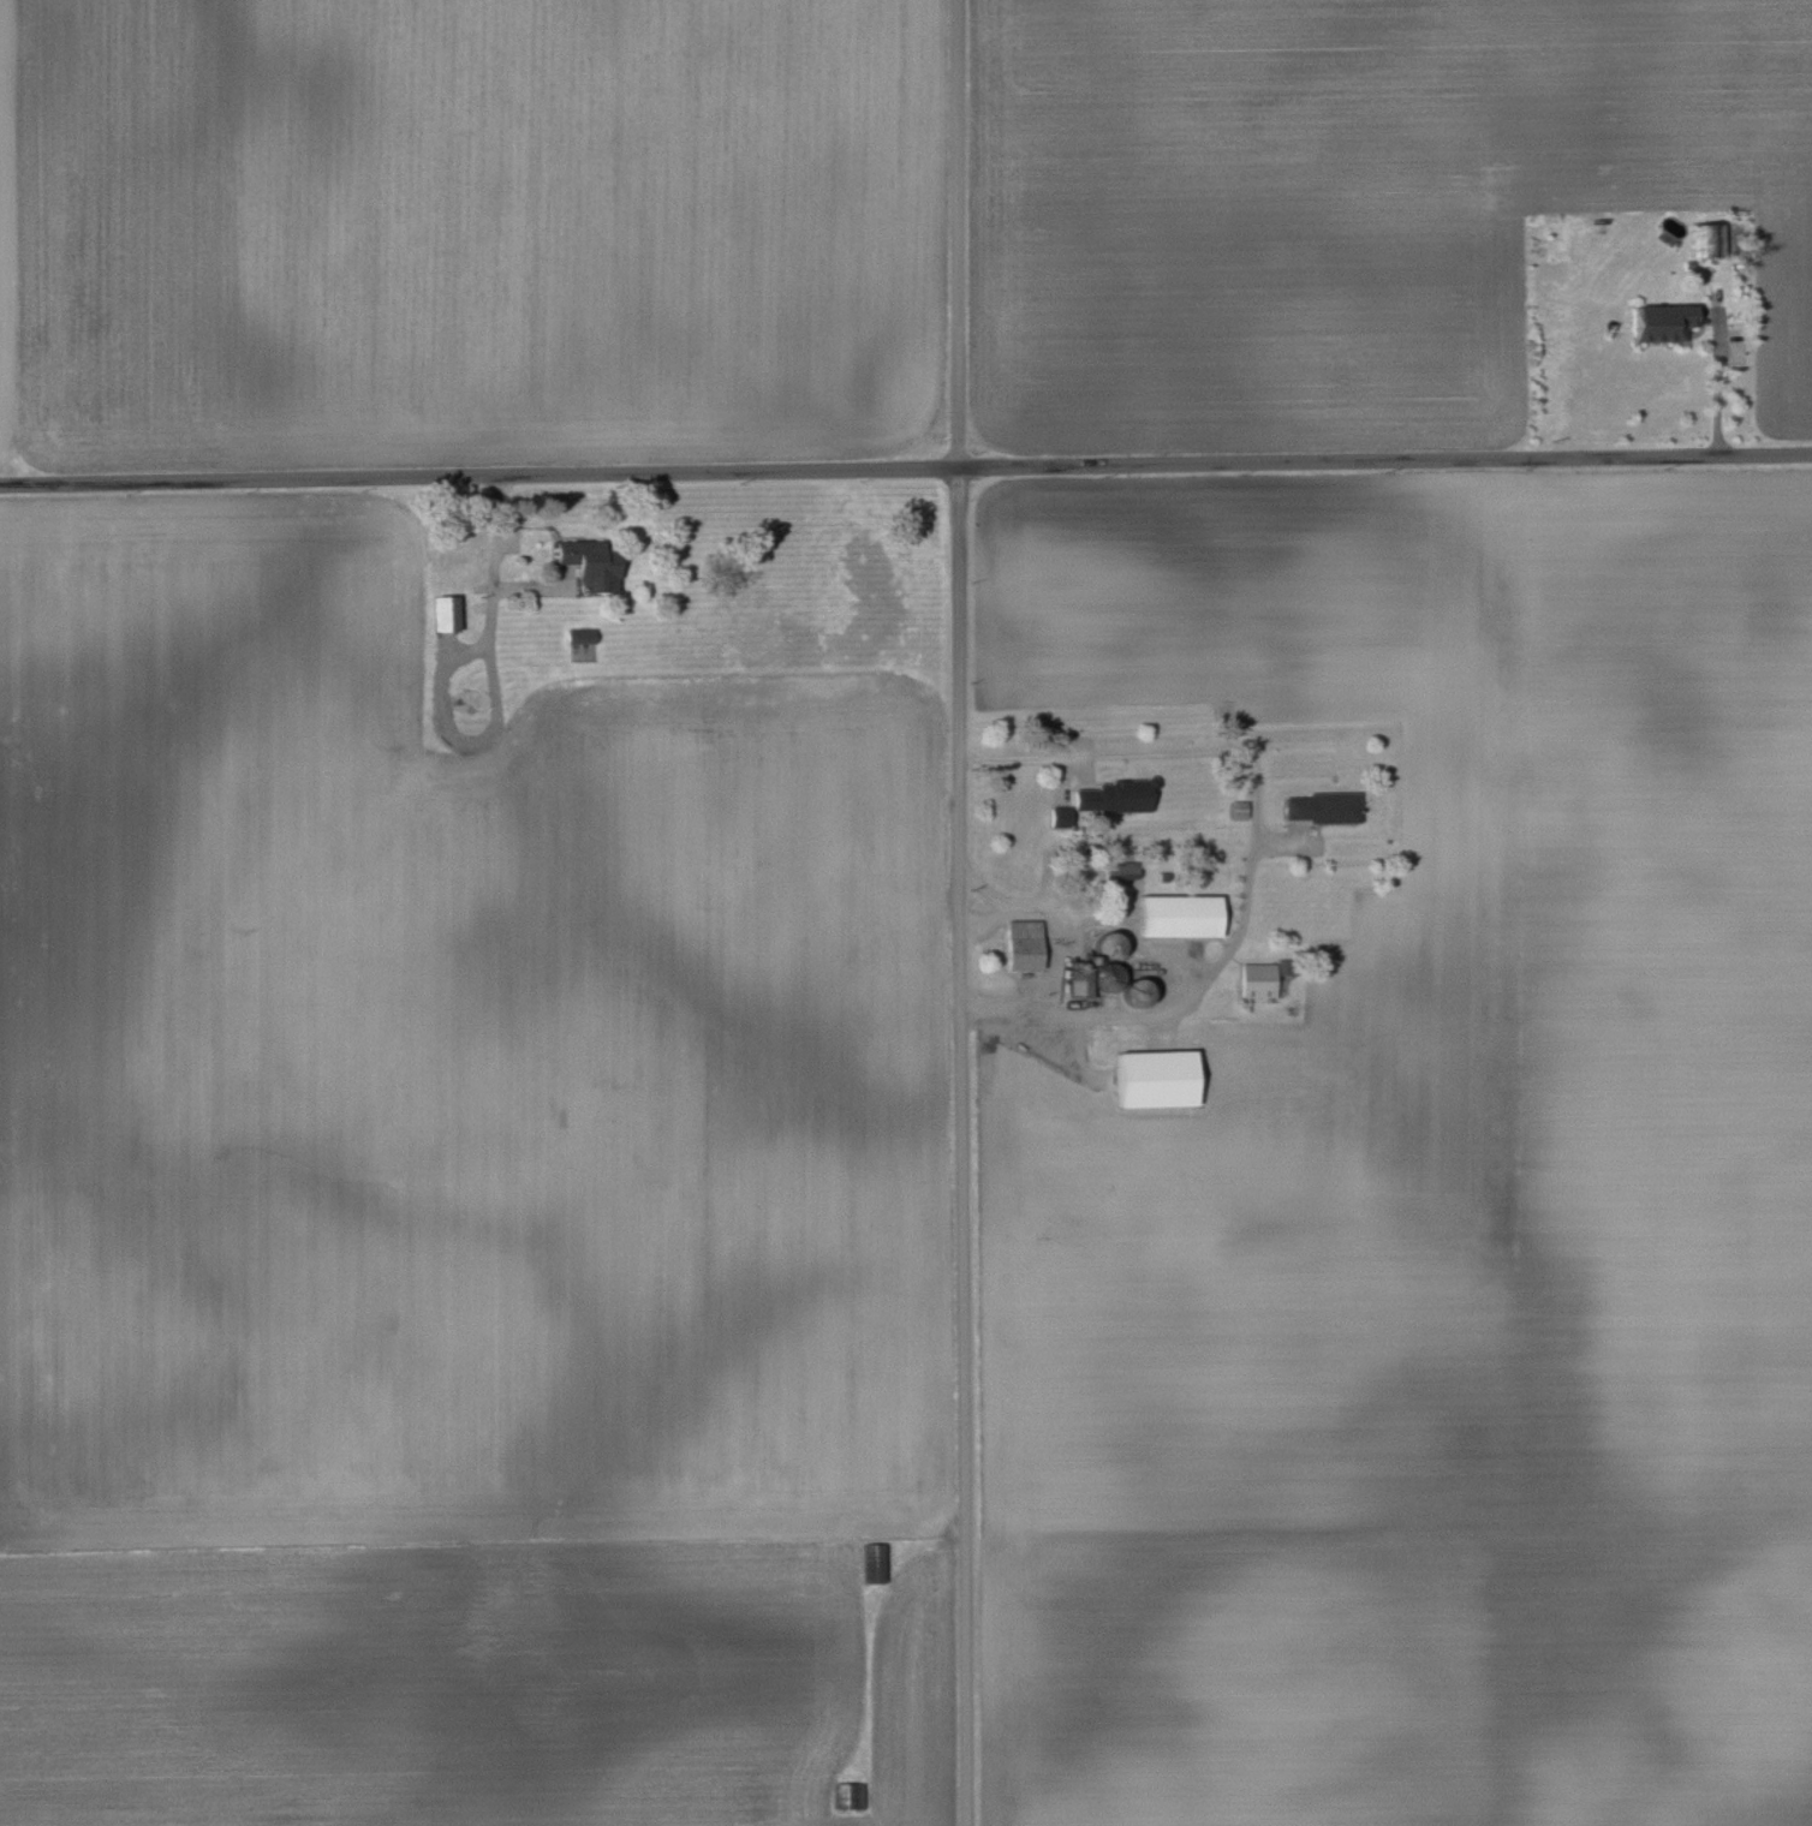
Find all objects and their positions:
building: (1704, 238)
building: (1659, 321)
road: (1718, 376)
road: (905, 466)
road: (495, 560)
building: (588, 562)
building: (443, 611)
building: (578, 634)
building: (1107, 795)
building: (1319, 806)
building: (1059, 813)
road: (1256, 852)
building: (1119, 870)
road: (966, 913)
building: (1176, 914)
road: (1055, 915)
building: (1020, 943)
building: (1256, 979)
building: (1152, 1078)
building: (868, 1559)
building: (847, 1792)

